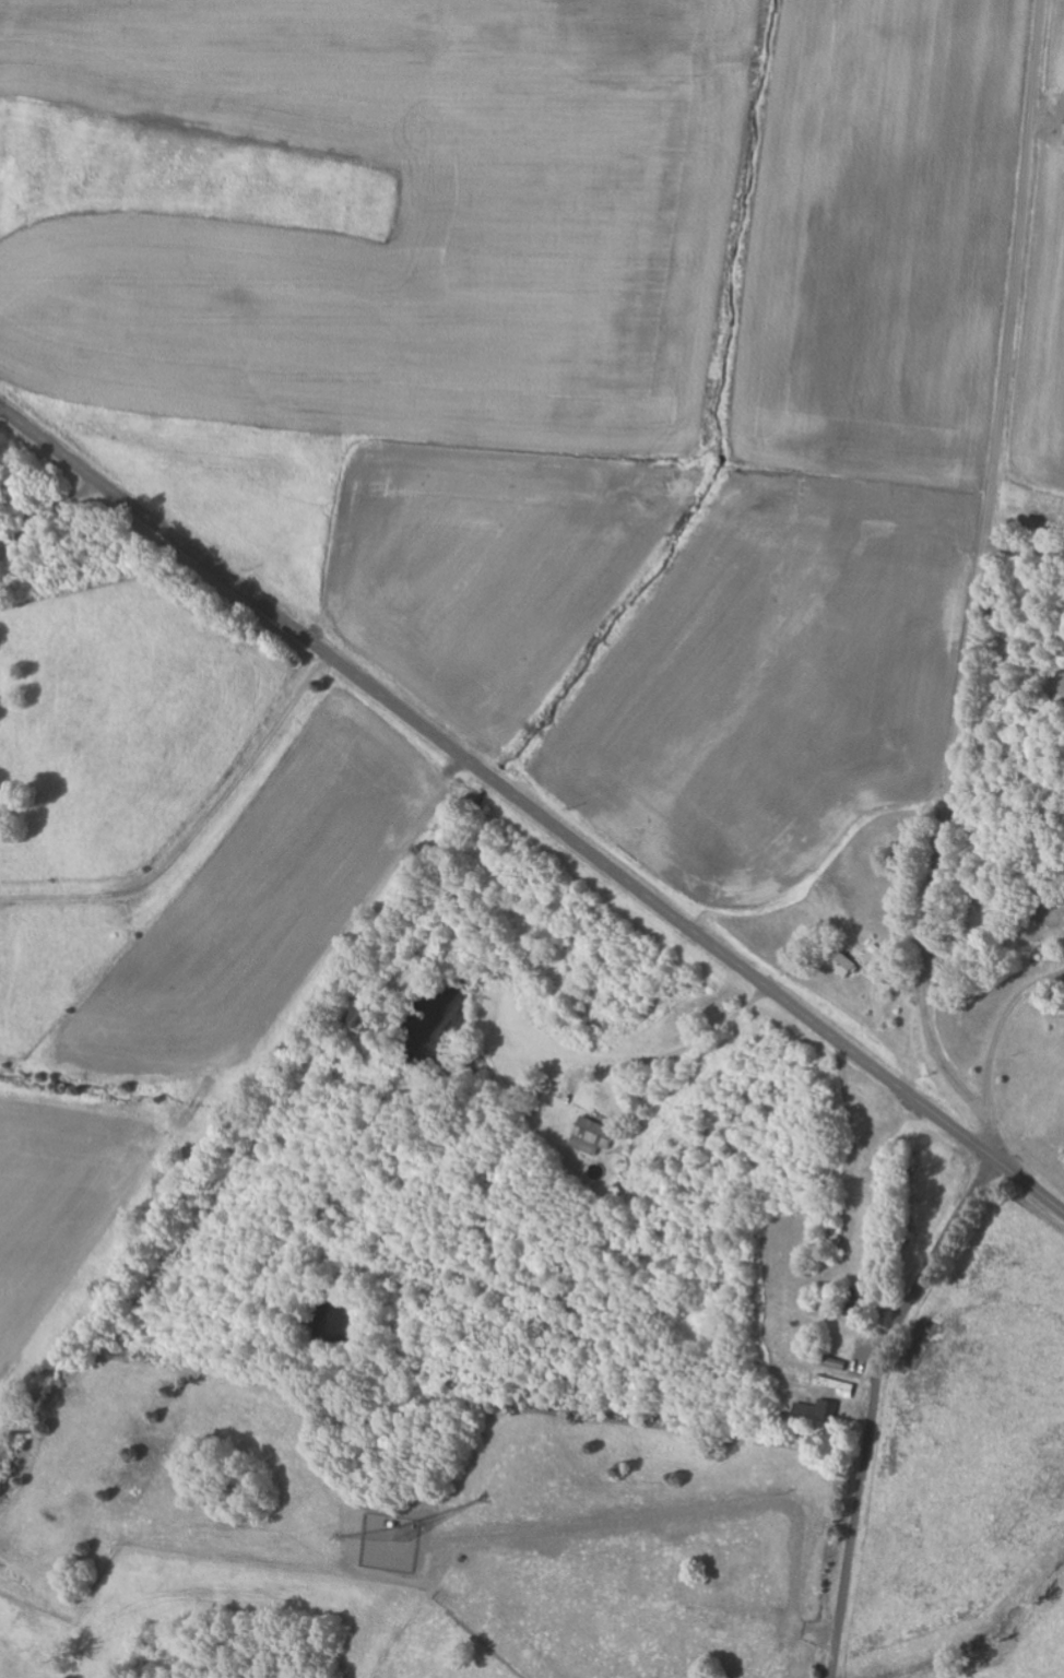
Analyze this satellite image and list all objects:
road: (45, 512)
road: (976, 587)
road: (531, 808)
building: (847, 964)
building: (362, 1016)
road: (674, 1054)
building: (595, 1136)
road: (873, 1403)
building: (824, 1411)

